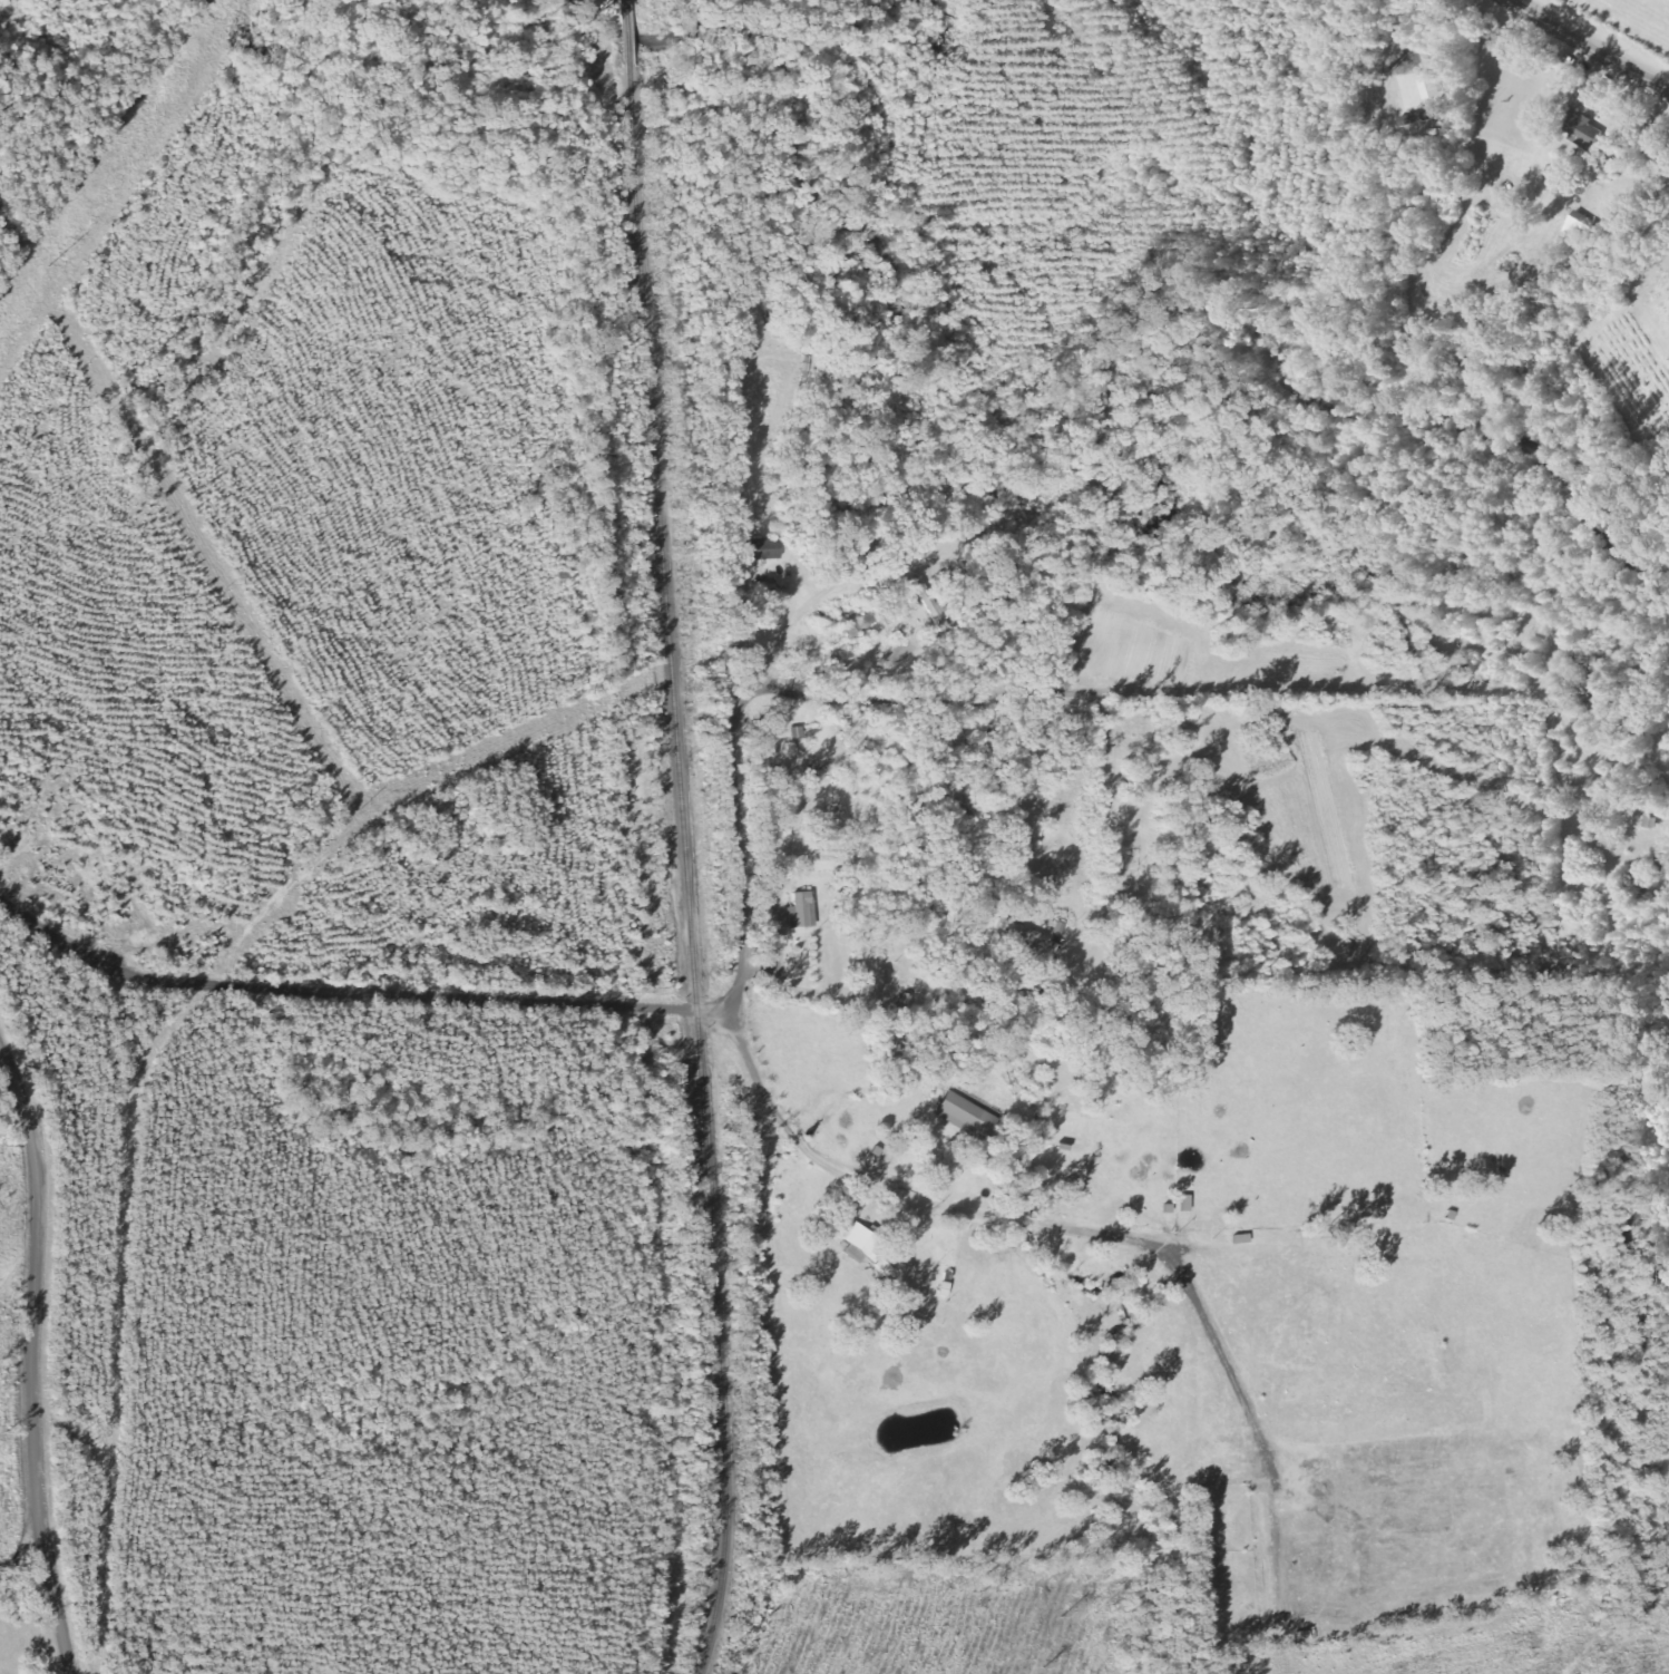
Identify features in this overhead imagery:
road: (1584, 47)
building: (1428, 86)
building: (1575, 126)
building: (1578, 225)
building: (768, 548)
road: (748, 784)
railway: (684, 837)
building: (804, 911)
building: (1029, 936)
building: (969, 1117)
road: (796, 1140)
building: (858, 1254)
road: (37, 1361)

